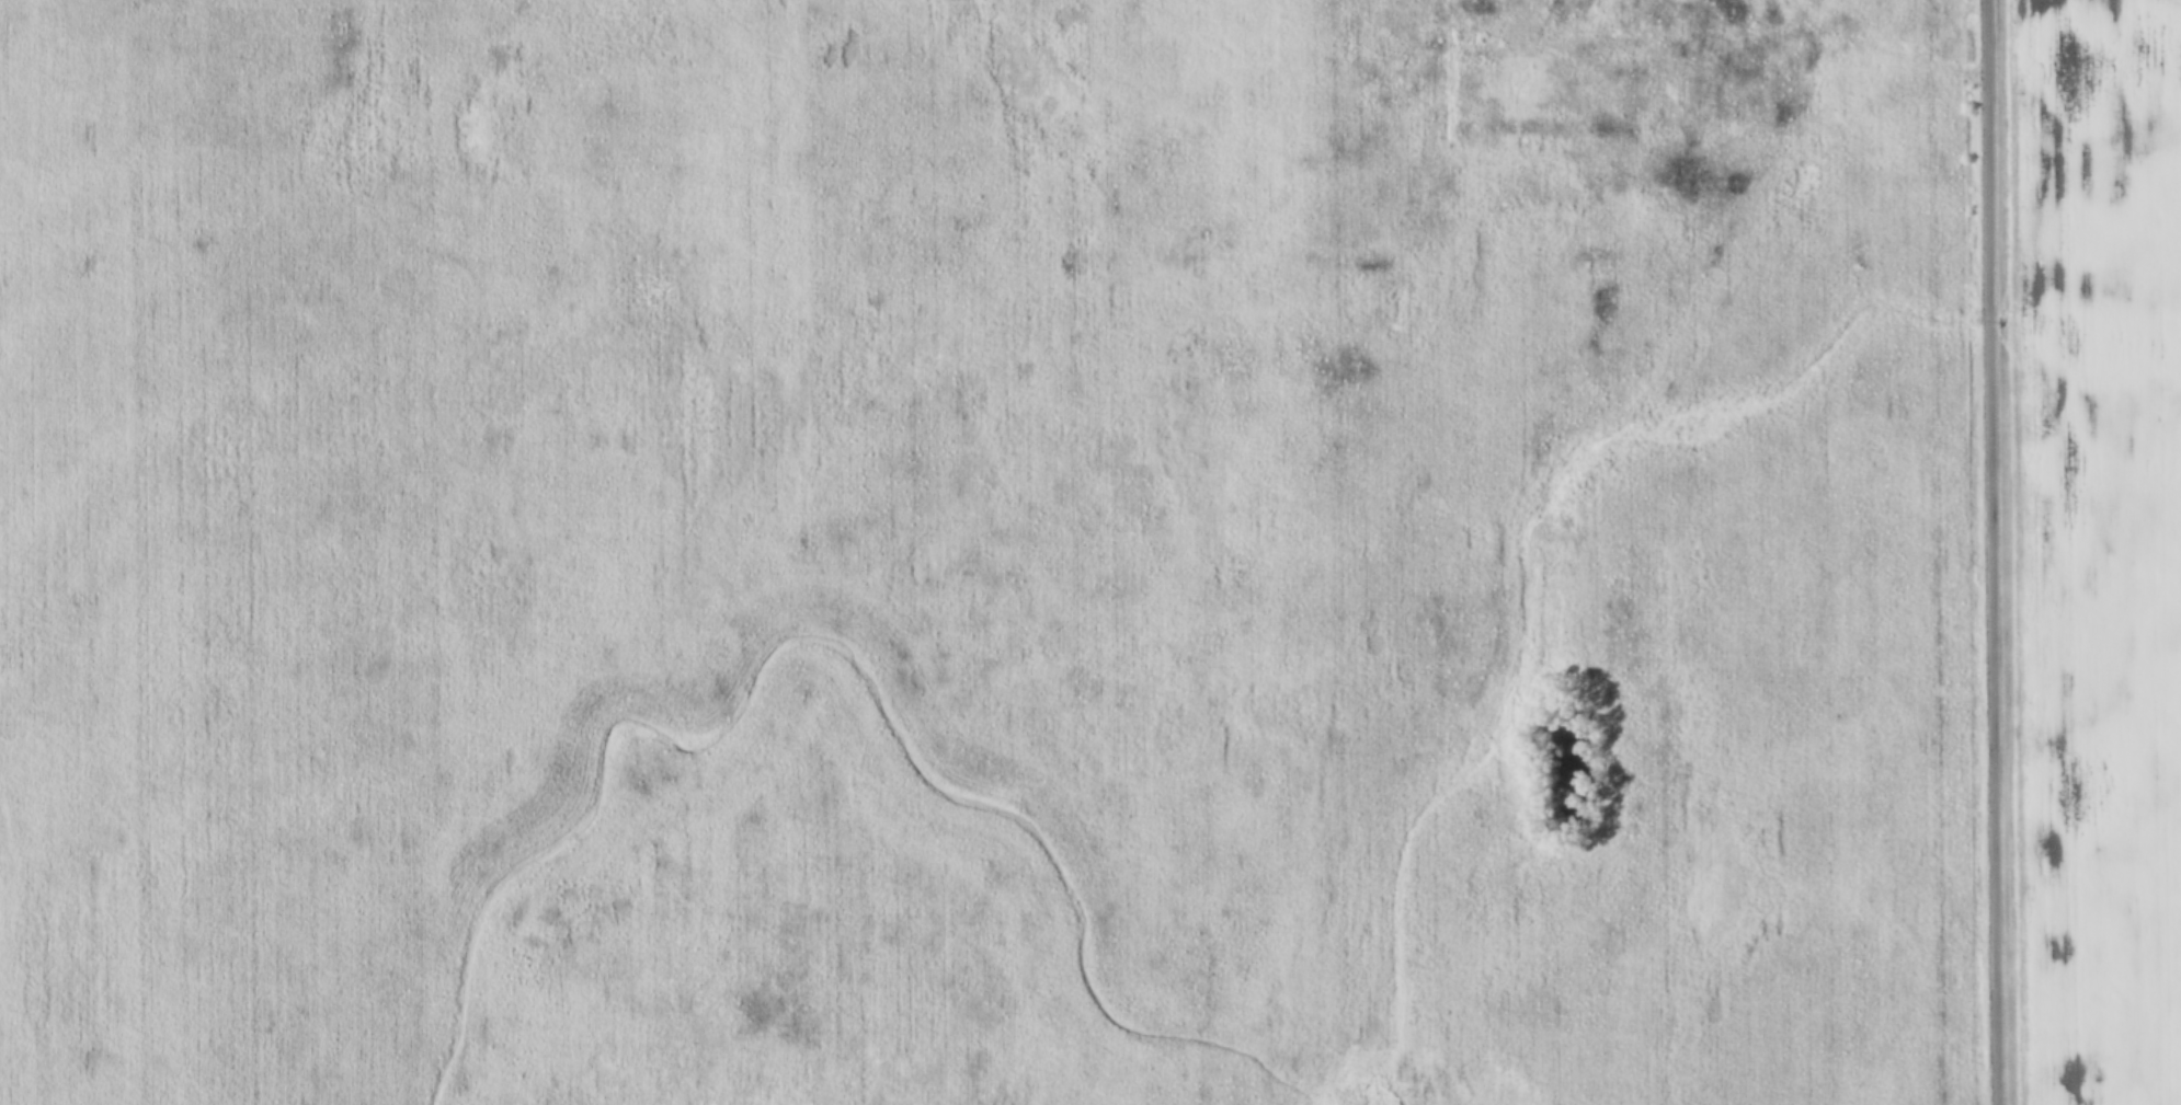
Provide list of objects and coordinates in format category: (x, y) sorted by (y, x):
road: (1985, 552)

